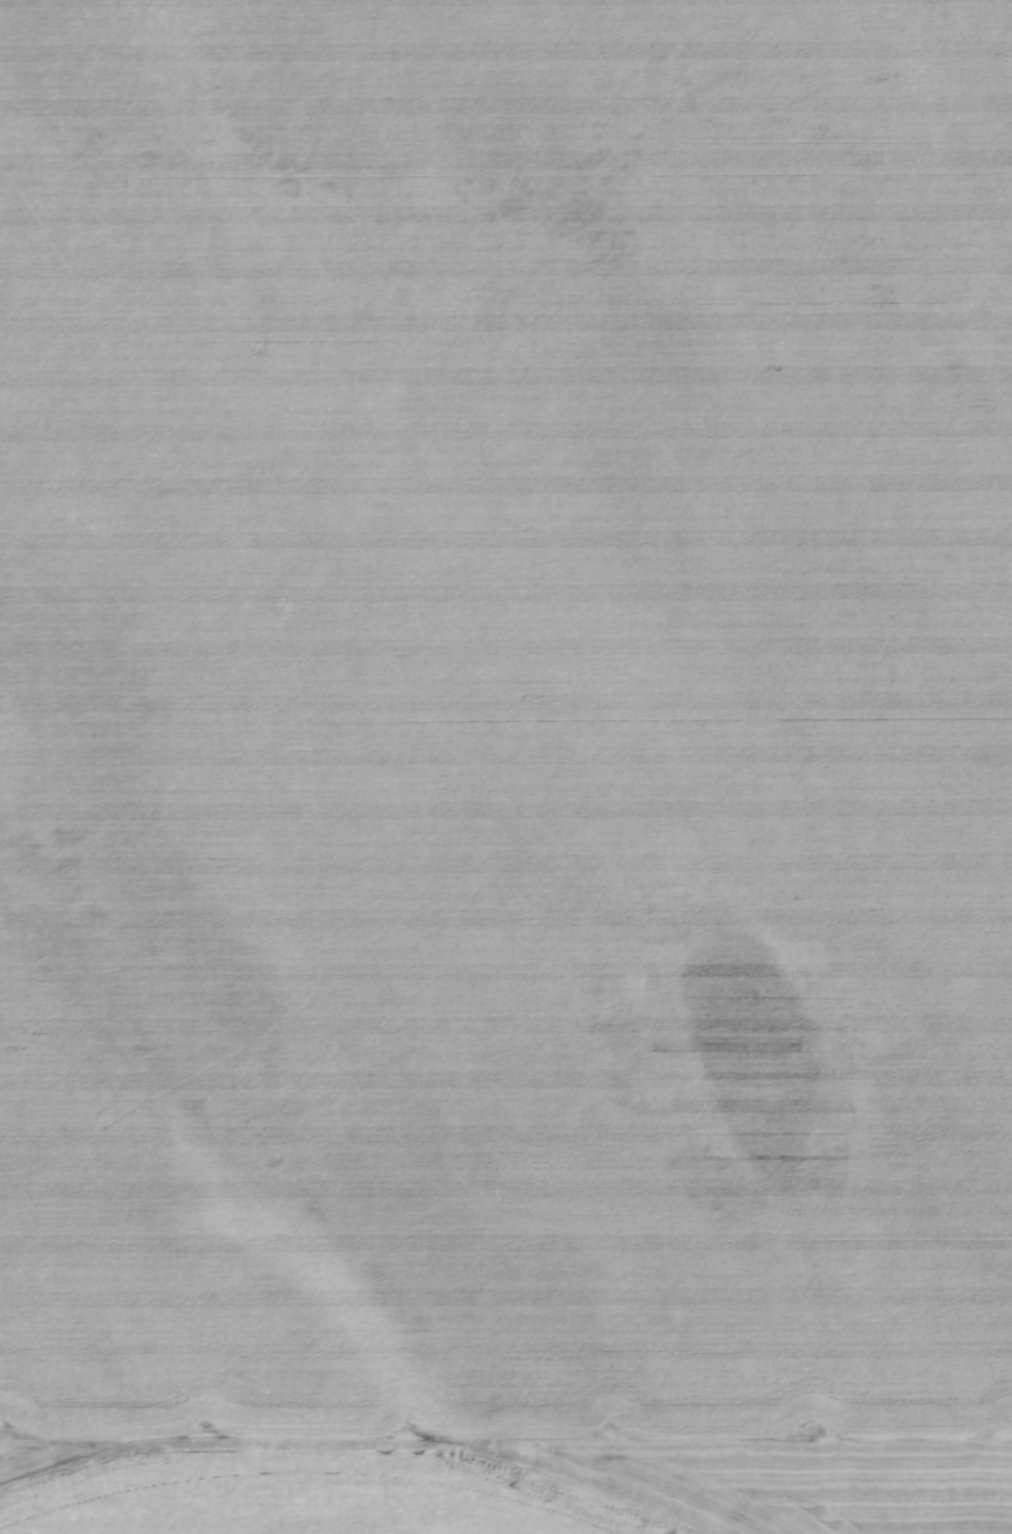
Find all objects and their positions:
crop: (506, 767)

